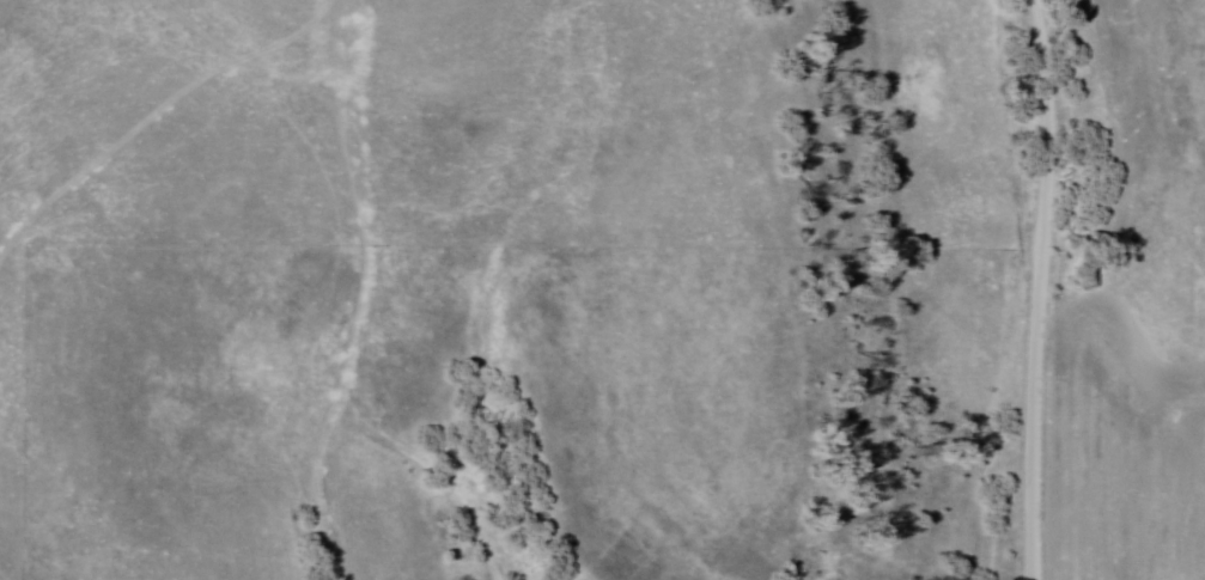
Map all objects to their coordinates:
road: (1037, 289)

